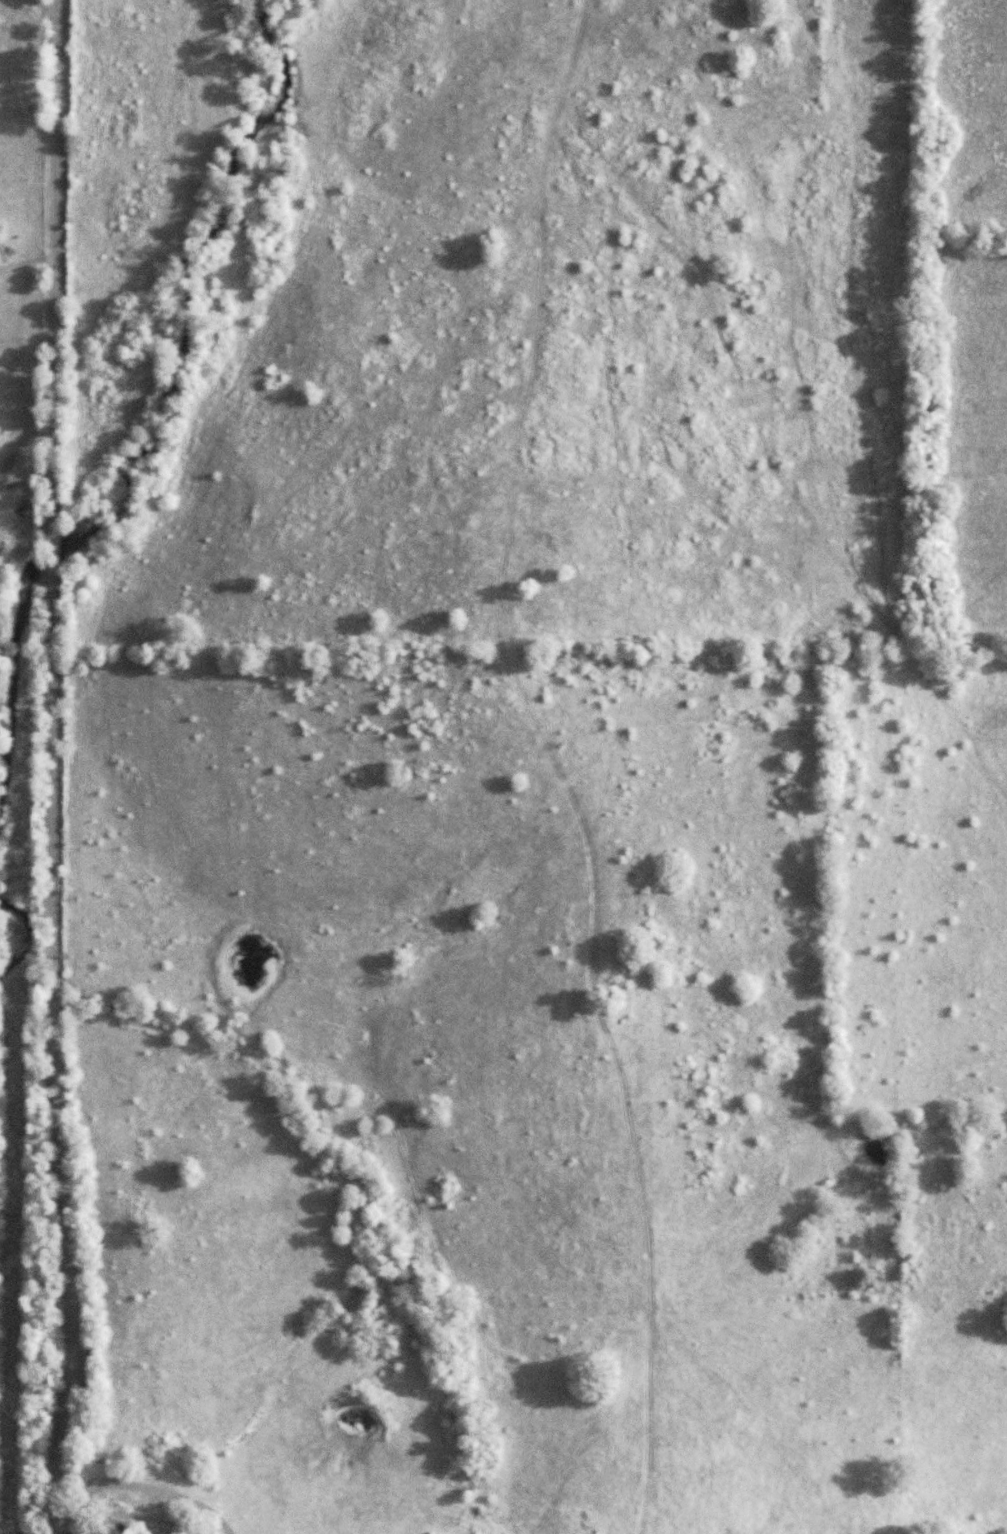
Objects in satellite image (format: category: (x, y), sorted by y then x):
road: (50, 768)

